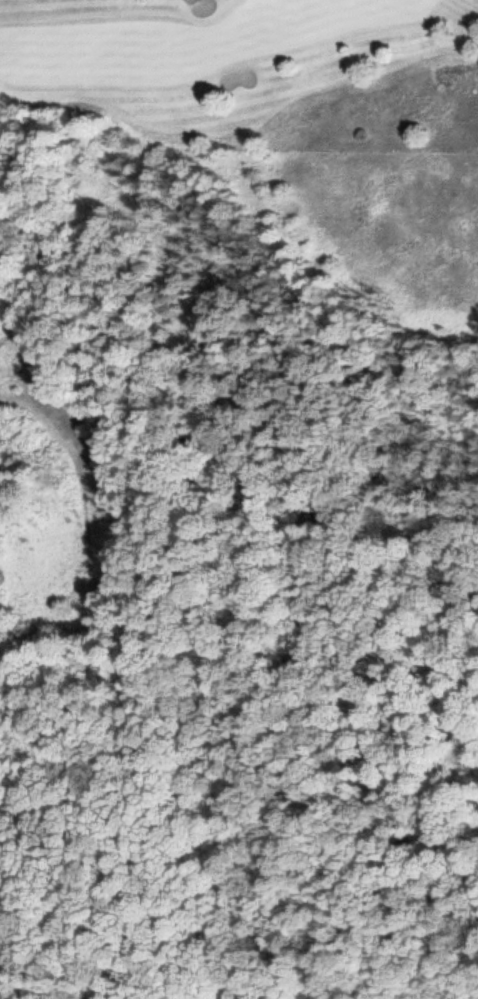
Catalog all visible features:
park: (239, 78)
road: (20, 308)
road: (136, 677)

